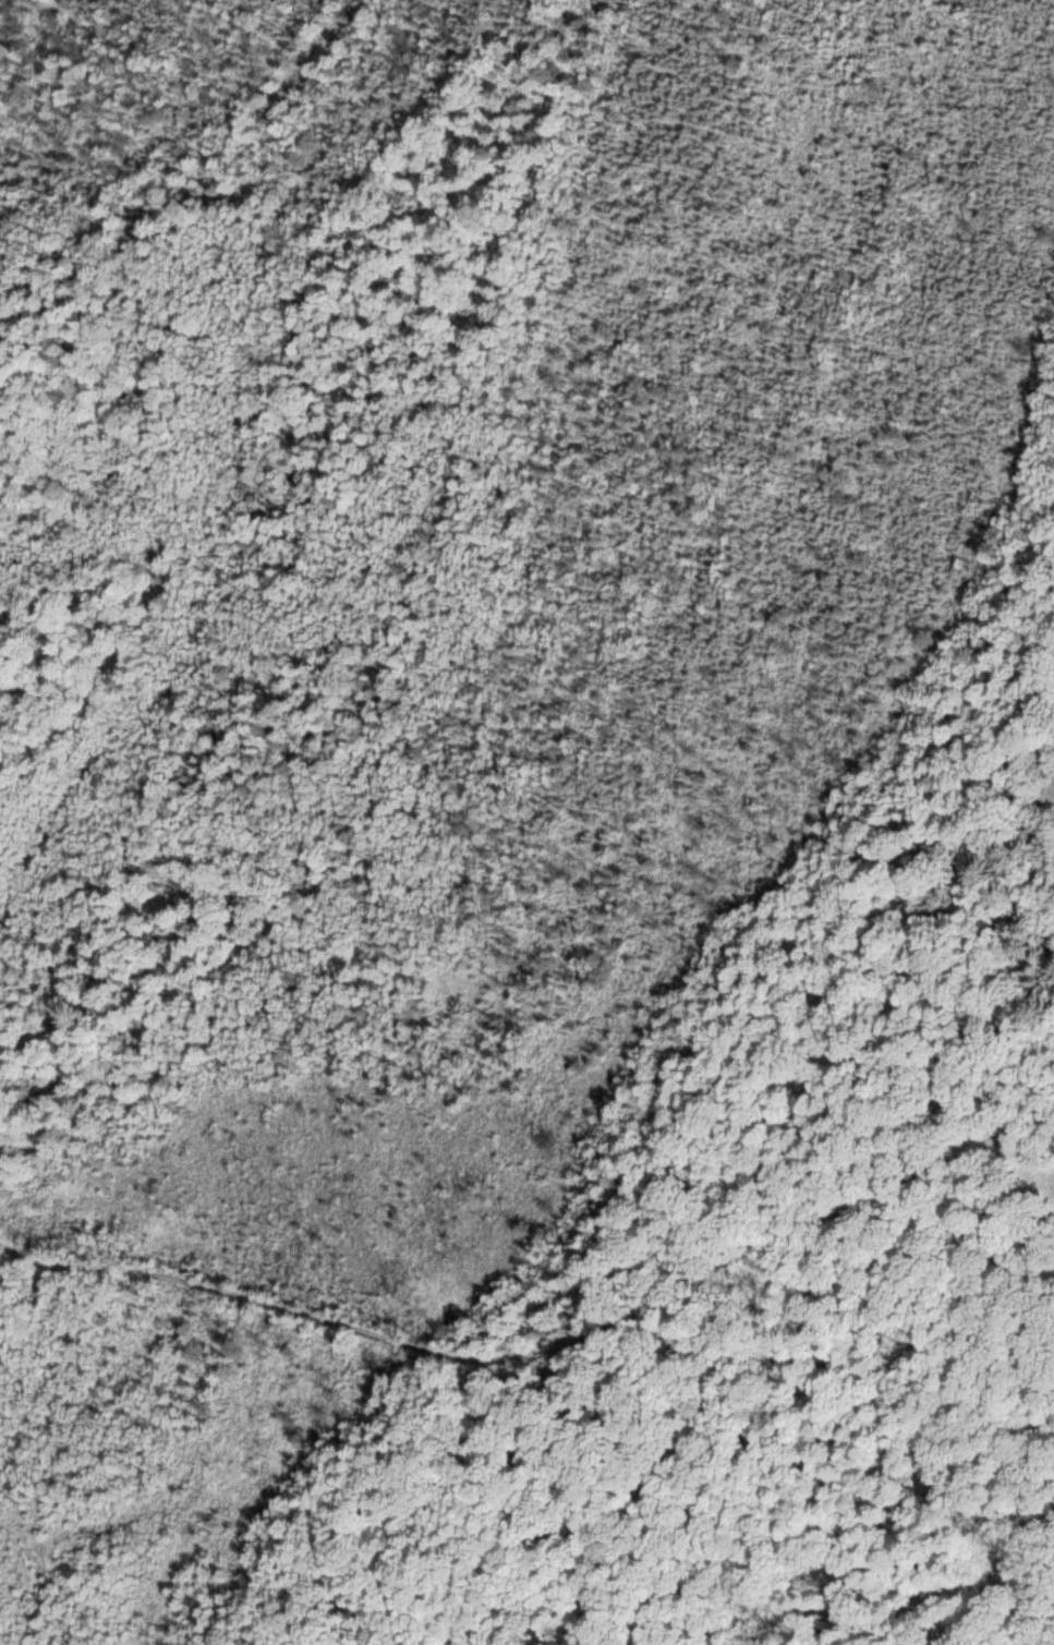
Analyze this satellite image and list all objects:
road: (537, 1333)
road: (410, 1514)

